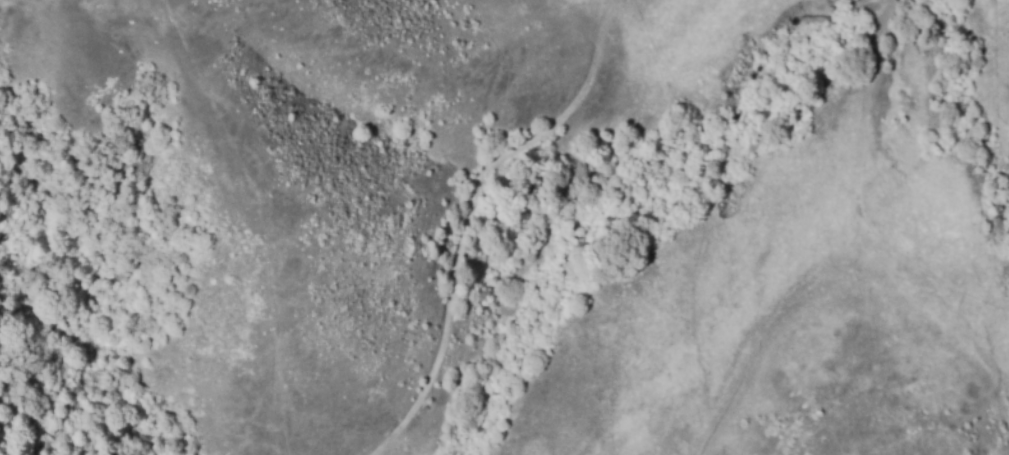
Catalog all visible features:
road: (864, 196)

